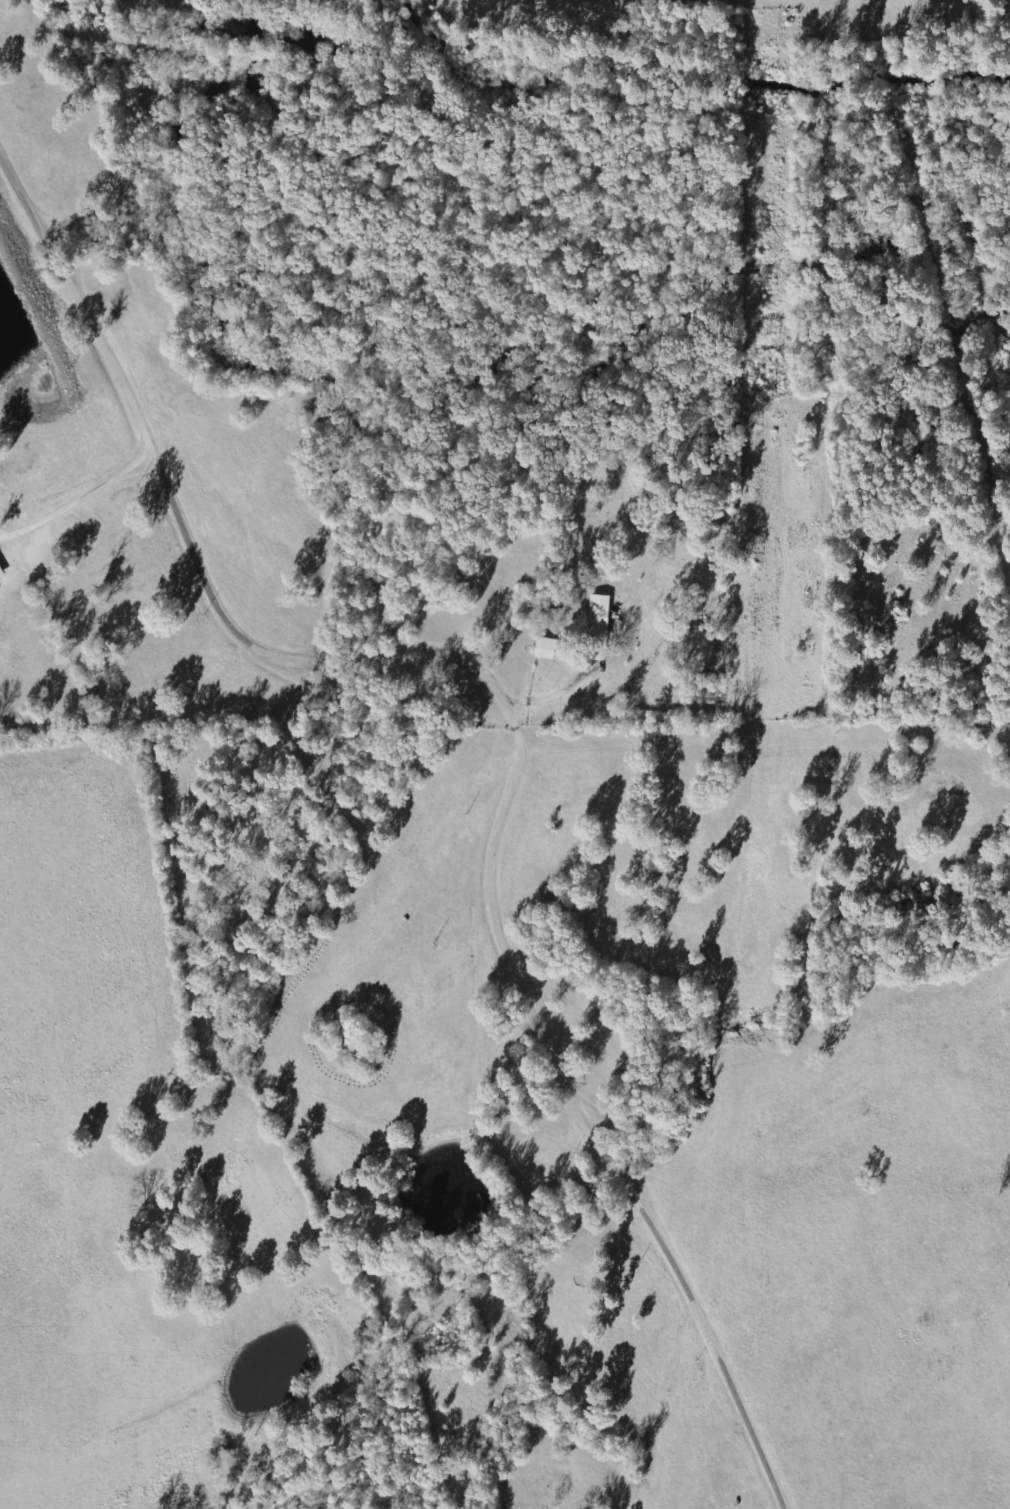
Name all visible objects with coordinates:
building: (598, 618)
road: (513, 727)

